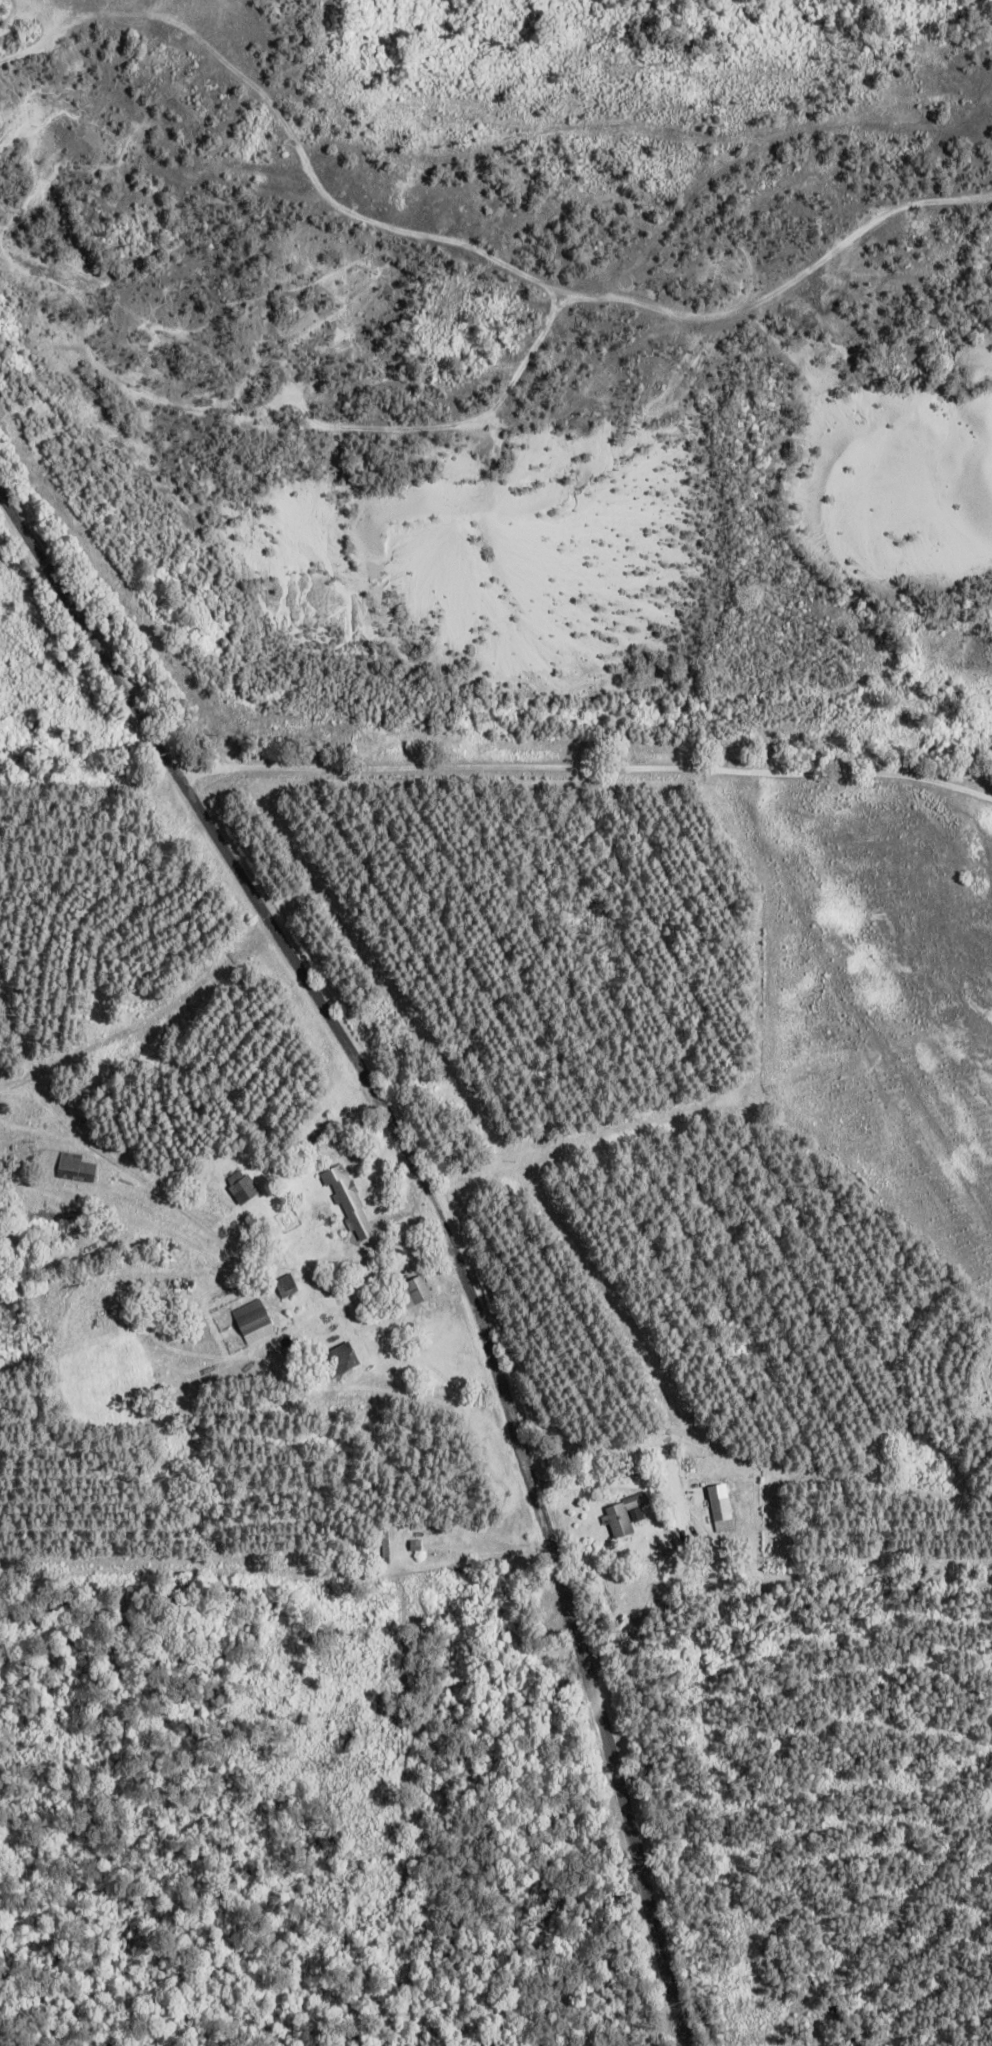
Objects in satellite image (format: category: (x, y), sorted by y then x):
road: (1, 179)
building: (70, 1166)
building: (243, 1187)
building: (350, 1202)
road: (443, 1226)
building: (287, 1286)
building: (420, 1290)
building: (254, 1322)
building: (340, 1360)
building: (722, 1509)
building: (623, 1516)
building: (417, 1545)
building: (386, 1549)

